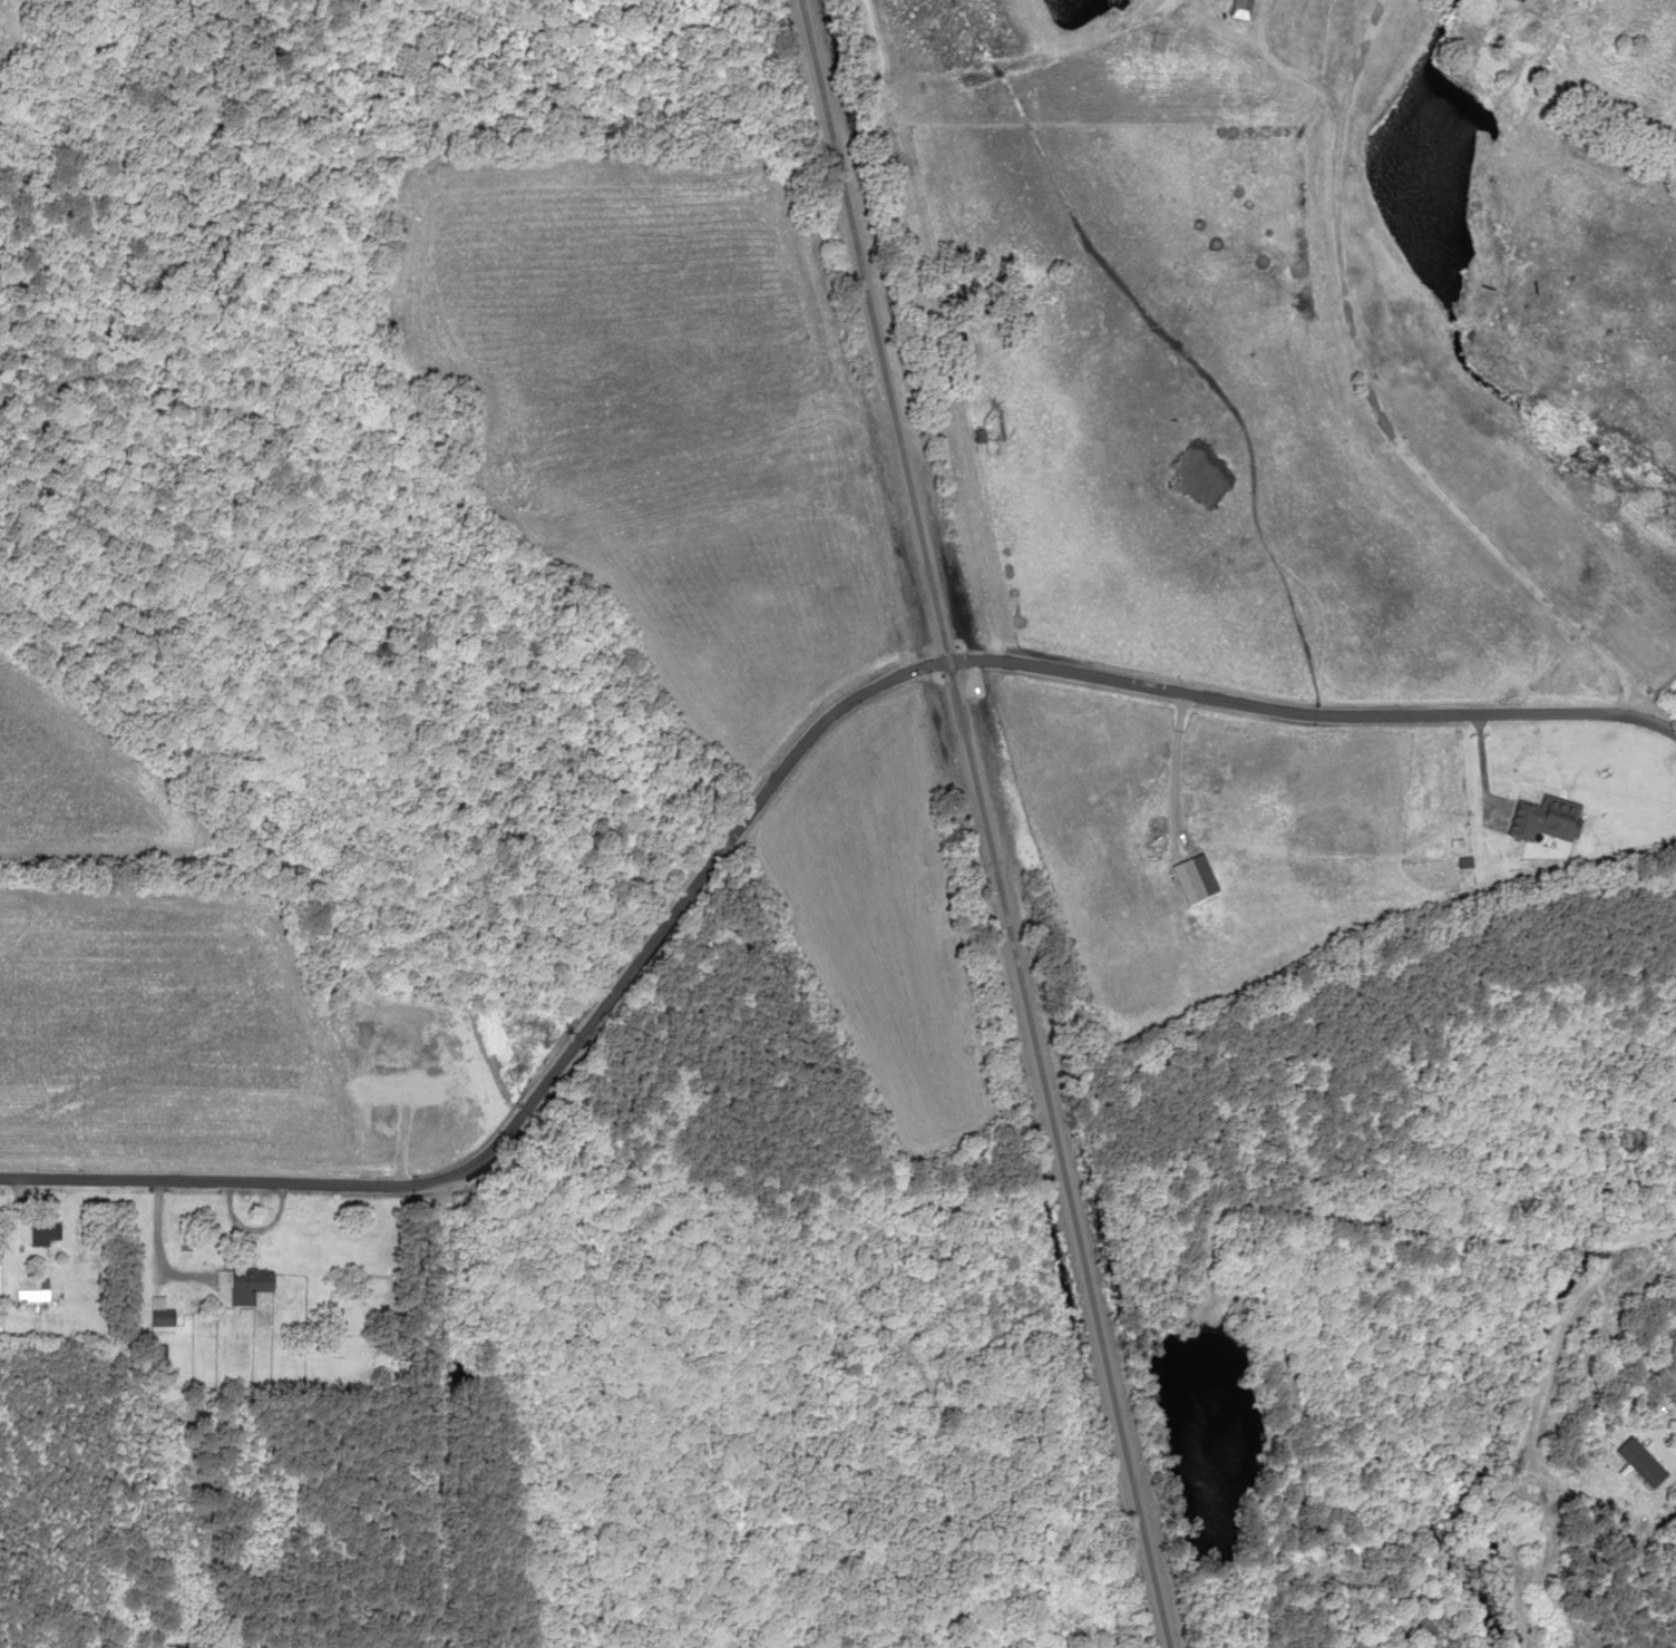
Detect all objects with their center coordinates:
crop: (4, 6)
road: (1374, 407)
crop: (704, 535)
road: (782, 749)
crop: (60, 752)
building: (1541, 818)
railway: (971, 823)
building: (1185, 879)
crop: (160, 1034)
building: (383, 1124)
building: (46, 1233)
building: (243, 1283)
building: (166, 1316)

